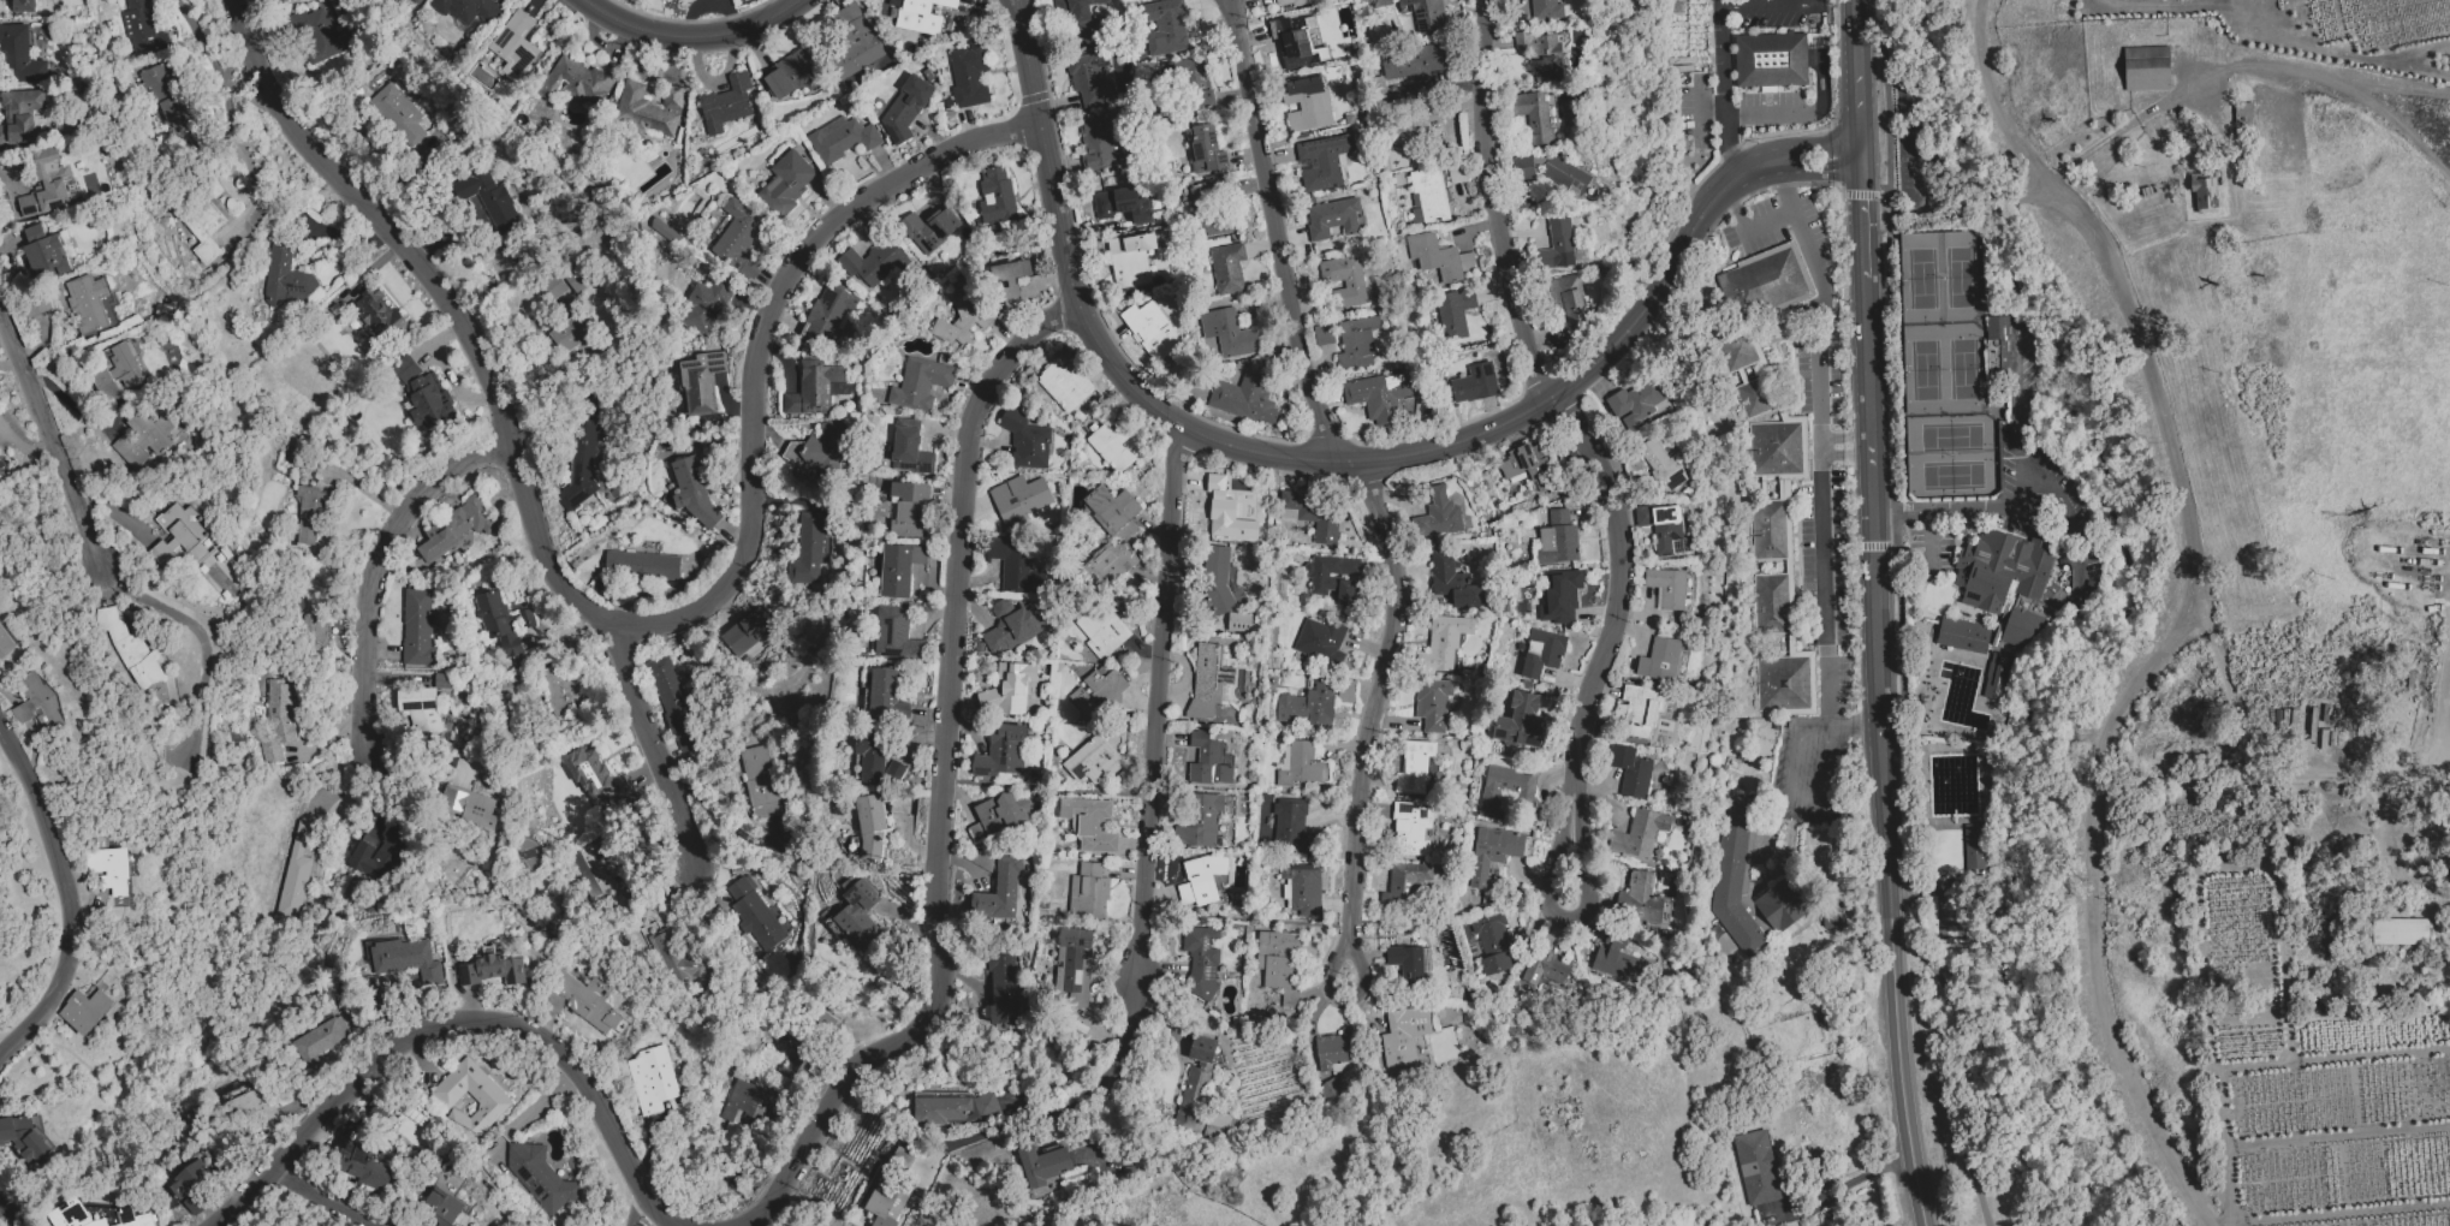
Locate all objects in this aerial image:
building: (262, 0)
building: (416, 1)
building: (1289, 1)
building: (1378, 1)
road: (1814, 2)
road: (1013, 5)
building: (23, 6)
road: (1768, 6)
building: (466, 10)
building: (1546, 10)
building: (1423, 14)
building: (920, 16)
road: (1859, 22)
building: (1078, 23)
building: (142, 28)
building: (1165, 28)
building: (317, 35)
building: (1294, 35)
road: (691, 40)
road: (201, 43)
building: (515, 43)
building: (850, 43)
building: (1541, 54)
building: (19, 55)
building: (1771, 59)
building: (1411, 61)
road: (2249, 69)
building: (795, 72)
building: (2148, 72)
building: (969, 75)
building: (575, 79)
building: (1090, 79)
building: (1188, 81)
road: (1724, 95)
road: (1700, 96)
road: (1861, 96)
road: (1990, 97)
road: (249, 101)
road: (1701, 102)
building: (726, 103)
building: (1306, 103)
building: (172, 107)
building: (649, 107)
building: (904, 108)
building: (398, 113)
road: (1798, 113)
building: (1533, 115)
building: (19, 117)
building: (2244, 124)
building: (1414, 126)
road: (232, 130)
building: (840, 138)
building: (1099, 141)
road: (1913, 148)
building: (1205, 149)
road: (1808, 153)
building: (1321, 161)
road: (1863, 161)
building: (1521, 168)
road: (1748, 172)
building: (1564, 175)
road: (1802, 175)
building: (785, 183)
building: (46, 185)
road: (2027, 190)
building: (1207, 192)
road: (1875, 194)
building: (2149, 194)
building: (2207, 194)
building: (995, 195)
building: (1427, 195)
building: (489, 201)
road: (1489, 202)
road: (1992, 202)
building: (1122, 204)
road: (1919, 214)
building: (1332, 218)
building: (1214, 222)
road: (1765, 222)
road: (1865, 225)
building: (930, 227)
building: (203, 230)
building: (664, 231)
road: (1274, 232)
building: (739, 238)
building: (1557, 245)
building: (44, 254)
building: (1438, 257)
building: (1130, 260)
building: (872, 262)
building: (1226, 268)
building: (286, 278)
building: (566, 280)
building: (1343, 280)
building: (1007, 282)
building: (1761, 284)
building: (1566, 302)
building: (89, 303)
building: (704, 304)
road: (1821, 305)
building: (1453, 313)
building: (377, 314)
building: (827, 317)
building: (964, 317)
building: (1150, 331)
building: (570, 332)
building: (1227, 332)
building: (1322, 334)
building: (1356, 343)
building: (404, 369)
building: (117, 370)
park: (1947, 371)
building: (698, 382)
building: (1474, 383)
building: (921, 385)
building: (1064, 385)
building: (815, 388)
building: (1380, 397)
building: (1754, 397)
building: (1244, 398)
building: (428, 401)
building: (1635, 403)
road: (73, 406)
road: (1845, 436)
building: (139, 440)
building: (1024, 440)
road: (49, 441)
building: (1114, 446)
building: (909, 448)
building: (816, 450)
building: (1776, 450)
building: (578, 451)
road: (1282, 454)
road: (1847, 454)
building: (2, 464)
building: (1660, 464)
building: (1526, 468)
road: (1897, 477)
road: (2023, 490)
road: (363, 492)
building: (692, 492)
building: (1018, 499)
building: (1111, 507)
building: (908, 508)
building: (310, 512)
building: (1225, 512)
building: (1310, 514)
building: (1439, 514)
building: (457, 528)
building: (1665, 529)
building: (1767, 530)
building: (1557, 538)
road: (2076, 540)
road: (1860, 546)
building: (195, 550)
building: (807, 550)
building: (641, 565)
building: (1105, 565)
building: (1015, 567)
building: (898, 569)
road: (1822, 569)
road: (375, 570)
building: (1336, 577)
building: (1452, 582)
building: (2004, 583)
building: (1220, 588)
building: (1670, 589)
building: (1559, 596)
road: (1614, 596)
building: (1770, 603)
road: (1879, 611)
building: (501, 623)
road: (618, 626)
building: (1011, 626)
building: (321, 627)
building: (417, 629)
building: (1101, 629)
building: (747, 631)
road: (196, 632)
building: (896, 635)
building: (1961, 635)
building: (1320, 641)
building: (6, 642)
building: (1441, 643)
building: (129, 648)
building: (1541, 653)
building: (1659, 659)
building: (1996, 676)
building: (1208, 680)
building: (1782, 683)
building: (565, 686)
building: (1007, 689)
building: (1099, 691)
road: (2133, 692)
building: (886, 697)
building: (35, 702)
building: (673, 703)
building: (1432, 703)
building: (1307, 704)
road: (1376, 706)
building: (420, 708)
building: (1639, 712)
building: (276, 720)
building: (1518, 722)
road: (652, 732)
road: (1853, 733)
road: (2438, 742)
building: (1001, 751)
road: (2267, 755)
building: (1207, 760)
building: (1093, 761)
road: (1150, 761)
building: (876, 763)
building: (1301, 766)
building: (1413, 767)
building: (1630, 770)
road: (942, 774)
building: (599, 775)
building: (757, 775)
parking lot: (1808, 778)
building: (1504, 790)
building: (469, 807)
building: (998, 814)
building: (1201, 822)
building: (1089, 823)
building: (873, 826)
building: (1291, 827)
building: (1410, 828)
building: (1639, 833)
road: (909, 844)
building: (1973, 846)
building: (1492, 852)
building: (379, 853)
road: (811, 858)
road: (964, 865)
building: (107, 870)
building: (295, 873)
building: (1734, 876)
building: (1201, 880)
building: (1403, 883)
building: (1301, 888)
building: (999, 891)
building: (1088, 892)
road: (63, 895)
building: (1639, 898)
building: (1779, 904)
building: (754, 915)
road: (1564, 921)
building: (863, 923)
building: (2401, 934)
building: (1492, 942)
building: (404, 958)
building: (1201, 960)
building: (1616, 960)
building: (678, 962)
building: (1279, 963)
building: (1410, 963)
building: (1072, 968)
building: (492, 969)
building: (1545, 970)
road: (961, 972)
building: (1001, 986)
road: (1344, 999)
building: (583, 1002)
building: (84, 1010)
building: (2443, 1018)
road: (498, 1022)
building: (810, 1032)
building: (1403, 1035)
building: (320, 1038)
building: (1333, 1049)
crop: (2222, 1052)
road: (1978, 1061)
building: (652, 1079)
building: (1194, 1083)
road: (1903, 1085)
building: (1330, 1089)
road: (1950, 1090)
building: (489, 1097)
building: (749, 1106)
building: (255, 1108)
building: (952, 1108)
building: (1215, 1125)
road: (1009, 1127)
building: (24, 1139)
building: (362, 1165)
building: (1042, 1165)
building: (1755, 1167)
building: (1820, 1173)
building: (539, 1177)
building: (189, 1179)
road: (1847, 1185)
building: (891, 1189)
building: (441, 1192)
road: (320, 1198)
road: (246, 1200)
road: (635, 1206)
building: (97, 1215)
road: (6, 1216)
road: (1919, 1222)

